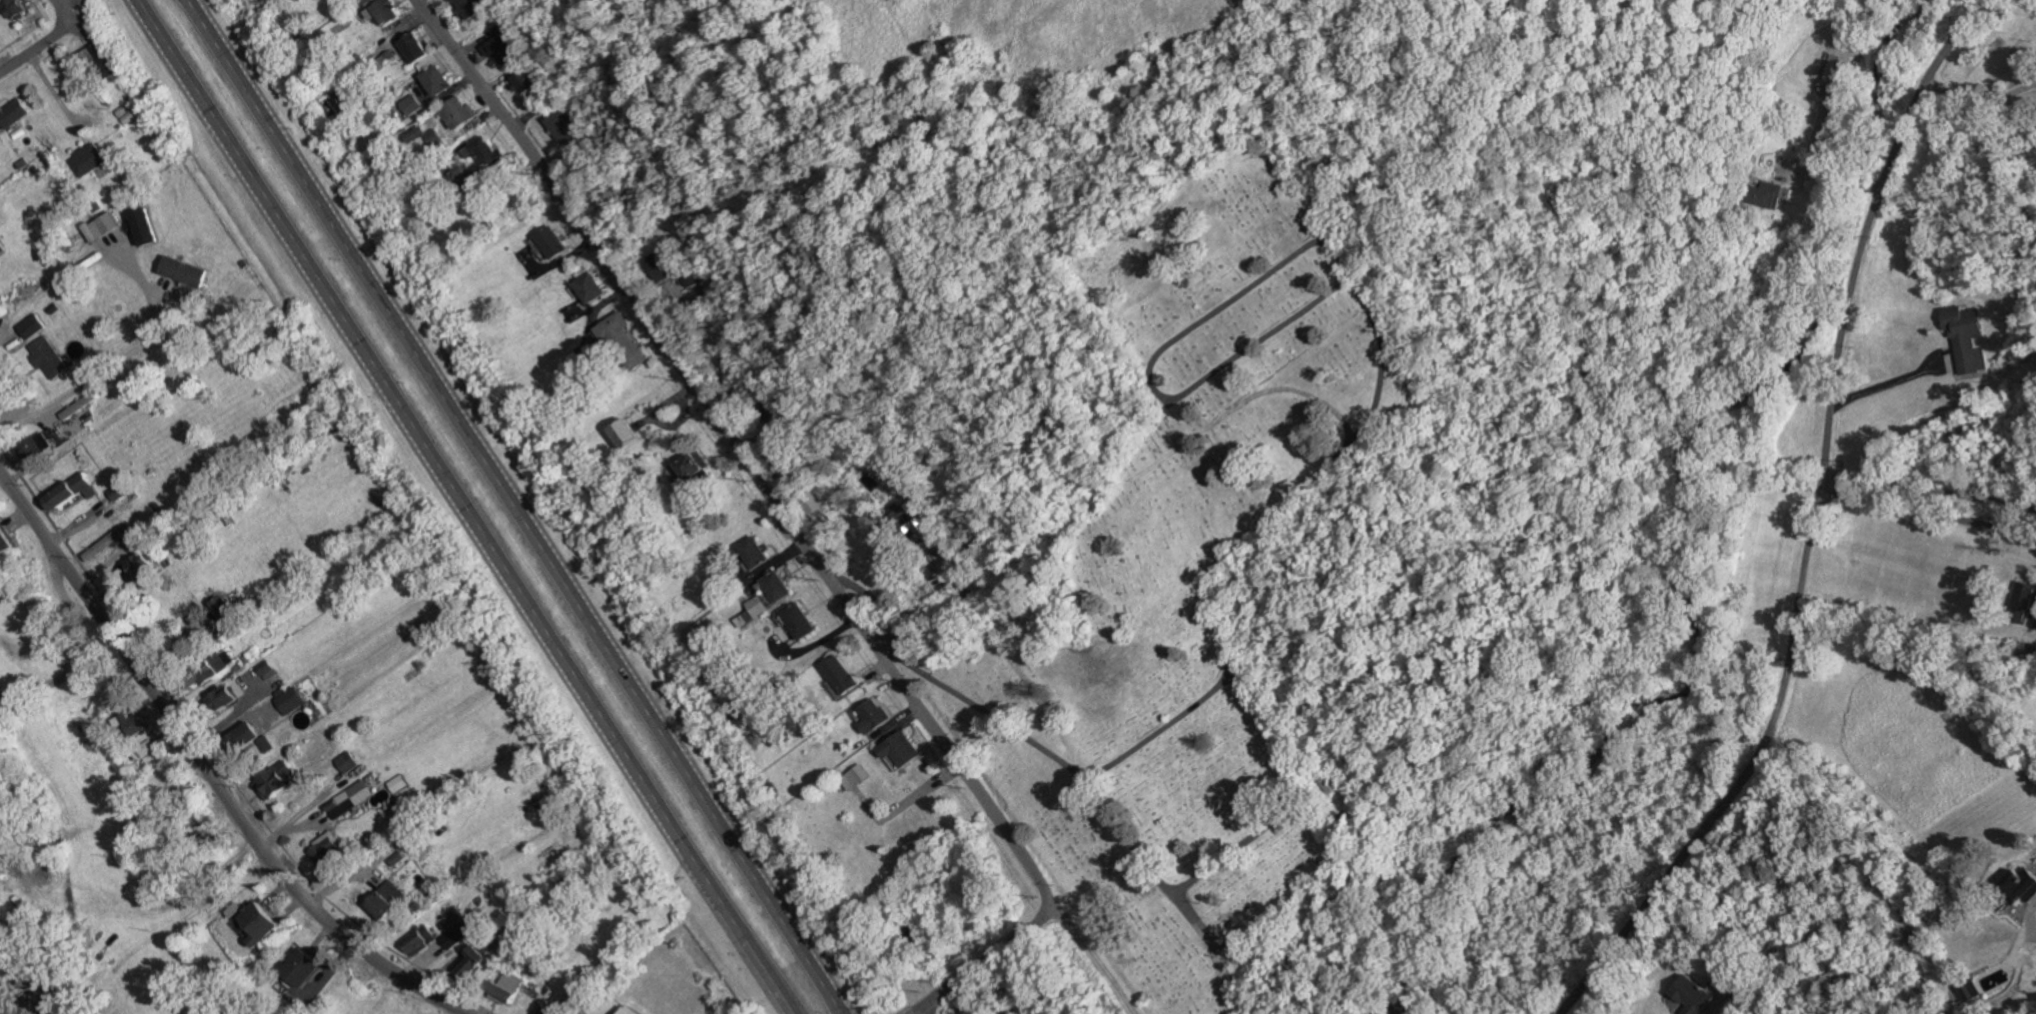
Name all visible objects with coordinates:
building: (365, 1)
road: (1992, 2)
building: (471, 7)
building: (13, 8)
road: (41, 10)
road: (62, 12)
building: (382, 12)
road: (23, 34)
building: (411, 46)
road: (35, 47)
building: (496, 47)
building: (102, 59)
building: (1836, 68)
building: (434, 80)
building: (522, 81)
road: (56, 94)
road: (1978, 101)
building: (410, 104)
building: (12, 112)
building: (455, 112)
building: (560, 127)
building: (423, 136)
building: (482, 152)
building: (86, 160)
road: (1832, 176)
building: (1768, 194)
building: (100, 226)
building: (142, 226)
building: (549, 242)
building: (1, 247)
building: (183, 271)
building: (586, 288)
building: (30, 326)
building: (1965, 337)
building: (620, 341)
building: (47, 357)
road: (1887, 383)
road: (78, 386)
building: (78, 406)
building: (770, 406)
building: (622, 433)
building: (33, 446)
road: (1932, 453)
road: (733, 454)
building: (691, 465)
road: (440, 468)
building: (69, 492)
building: (813, 506)
road: (512, 507)
road: (1812, 520)
road: (1926, 524)
building: (4, 542)
building: (102, 545)
building: (750, 552)
building: (139, 564)
building: (774, 586)
building: (2022, 602)
park: (1188, 603)
building: (756, 606)
building: (220, 608)
road: (909, 615)
road: (34, 619)
building: (743, 619)
building: (797, 621)
road: (85, 650)
building: (209, 670)
building: (266, 670)
building: (838, 674)
building: (221, 698)
building: (289, 701)
building: (871, 715)
building: (132, 723)
building: (241, 737)
building: (263, 745)
building: (145, 748)
building: (898, 749)
road: (217, 760)
building: (347, 763)
road: (207, 769)
building: (857, 775)
building: (274, 780)
building: (1332, 784)
building: (400, 788)
building: (348, 800)
road: (300, 811)
building: (324, 848)
building: (2020, 884)
building: (384, 901)
building: (256, 924)
road: (172, 927)
building: (455, 935)
building: (418, 941)
road: (984, 961)
building: (469, 964)
building: (295, 974)
road: (769, 976)
building: (504, 987)
building: (1969, 990)
building: (1691, 996)
building: (626, 1010)
building: (546, 1011)
road: (919, 1013)

